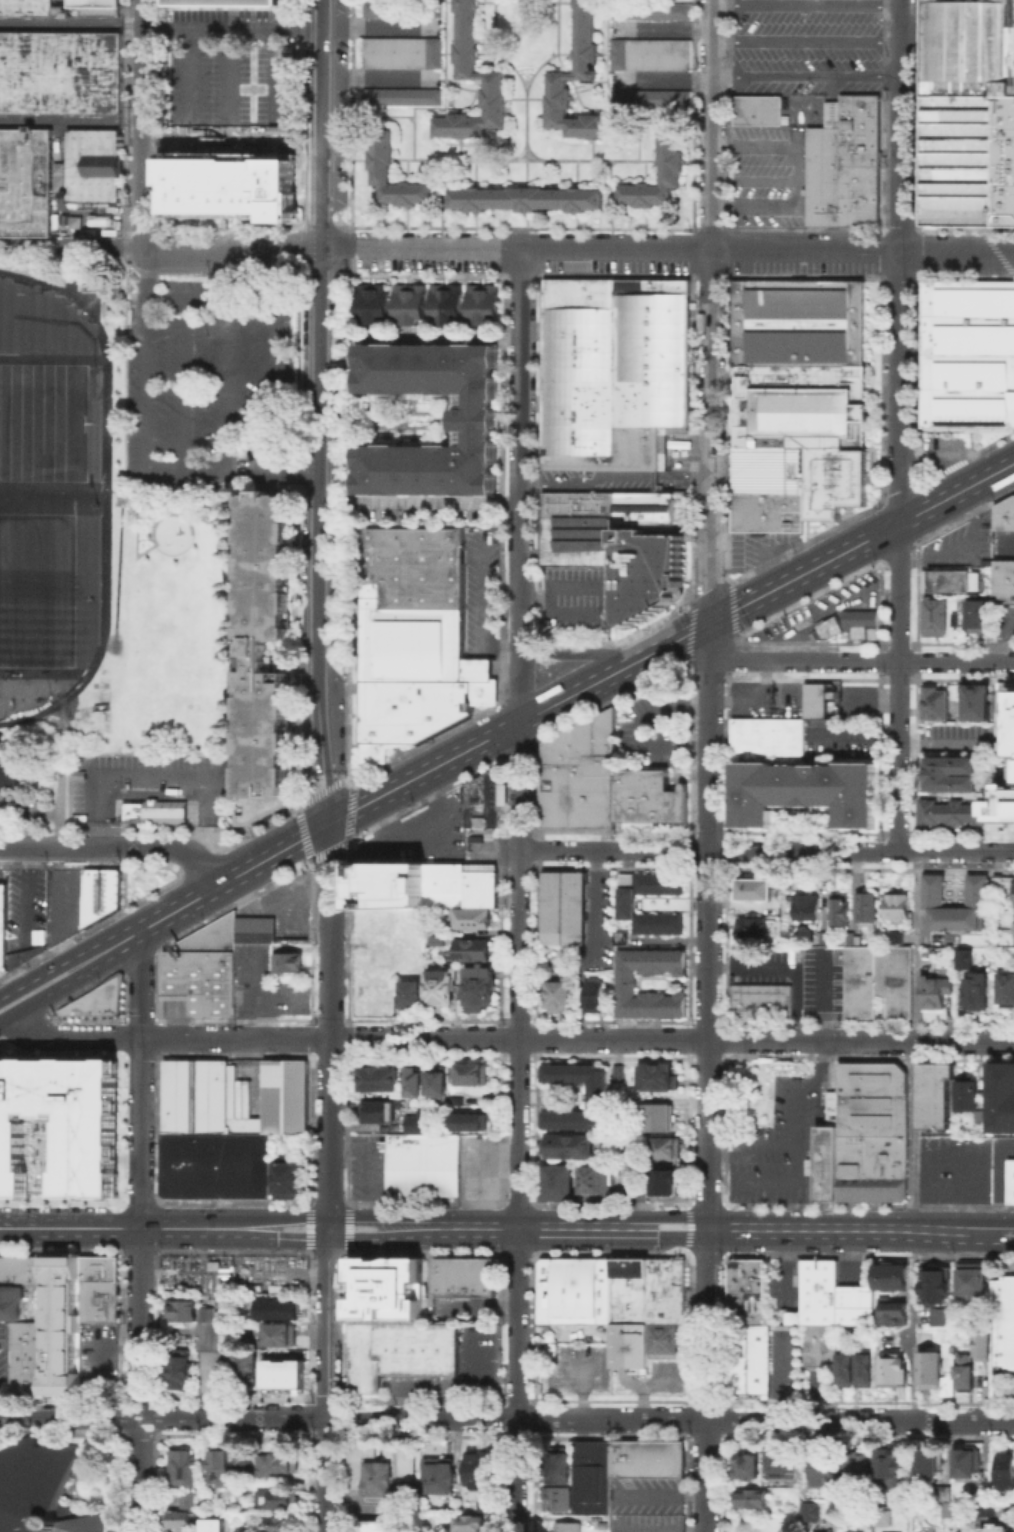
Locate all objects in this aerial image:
building: (231, 2)
road: (807, 6)
building: (61, 8)
building: (401, 8)
building: (649, 10)
road: (72, 20)
road: (233, 31)
building: (465, 35)
building: (584, 35)
road: (807, 42)
parking lot: (807, 47)
road: (555, 51)
building: (401, 52)
building: (649, 53)
building: (61, 70)
road: (807, 76)
parking lot: (231, 78)
road: (231, 78)
building: (400, 95)
building: (649, 97)
building: (967, 112)
building: (760, 113)
road: (401, 115)
road: (71, 118)
road: (703, 121)
road: (322, 122)
road: (143, 126)
road: (230, 126)
road: (637, 126)
building: (380, 155)
building: (669, 156)
road: (520, 157)
road: (610, 158)
building: (92, 164)
building: (847, 169)
building: (234, 180)
building: (26, 181)
building: (524, 198)
building: (101, 228)
building: (113, 229)
road: (901, 232)
road: (71, 244)
road: (668, 246)
road: (234, 252)
building: (377, 307)
building: (411, 308)
building: (447, 308)
building: (483, 309)
road: (710, 311)
road: (421, 338)
road: (223, 346)
road: (103, 351)
building: (967, 352)
road: (142, 358)
building: (614, 377)
park: (45, 383)
parking lot: (210, 384)
building: (794, 400)
park: (36, 422)
park: (43, 422)
building: (479, 426)
road: (944, 465)
road: (226, 469)
road: (612, 471)
road: (1000, 471)
road: (1000, 479)
road: (520, 484)
road: (121, 491)
track: (105, 502)
road: (419, 502)
building: (1004, 513)
road: (318, 534)
park: (100, 535)
road: (153, 535)
parking lot: (968, 544)
building: (622, 547)
road: (847, 550)
building: (950, 581)
building: (1003, 582)
road: (552, 583)
park: (36, 589)
parking lot: (481, 590)
parking lot: (579, 601)
traffic signals: (736, 610)
parking lot: (824, 610)
road: (477, 613)
road: (560, 615)
building: (974, 617)
building: (935, 620)
building: (957, 621)
building: (857, 623)
parking lot: (1003, 625)
road: (101, 634)
traffic signals: (685, 636)
road: (998, 636)
building: (418, 639)
road: (573, 652)
building: (263, 658)
road: (899, 658)
road: (861, 661)
parking lot: (765, 698)
building: (814, 699)
building: (973, 702)
building: (932, 703)
building: (1009, 714)
road: (518, 723)
parking lot: (654, 729)
building: (765, 735)
parking lot: (953, 737)
parking lot: (839, 741)
building: (8, 770)
road: (61, 773)
building: (950, 773)
road: (153, 778)
building: (606, 785)
parking lot: (155, 786)
building: (801, 789)
building: (484, 796)
building: (2, 805)
building: (1001, 808)
building: (948, 810)
building: (160, 814)
traffic signals: (327, 825)
parking lot: (424, 829)
road: (421, 831)
road: (117, 848)
road: (744, 850)
building: (392, 879)
building: (450, 880)
building: (484, 884)
road: (217, 887)
building: (935, 887)
building: (755, 890)
building: (100, 893)
parking lot: (64, 903)
road: (56, 905)
building: (628, 905)
building: (898, 906)
parking lot: (25, 907)
building: (809, 908)
building: (564, 910)
building: (841, 910)
building: (868, 910)
parking lot: (289, 911)
building: (3, 915)
building: (472, 915)
road: (709, 927)
building: (753, 930)
building: (257, 933)
building: (1013, 941)
building: (475, 946)
building: (965, 960)
building: (289, 965)
road: (52, 967)
road: (788, 967)
building: (206, 971)
parking lot: (795, 972)
road: (519, 976)
building: (879, 980)
building: (482, 984)
building: (442, 985)
road: (56, 987)
building: (627, 987)
parking lot: (268, 988)
building: (933, 990)
building: (411, 992)
building: (1007, 992)
building: (979, 993)
building: (561, 996)
building: (597, 997)
road: (819, 997)
building: (95, 999)
building: (762, 1003)
road: (330, 1026)
road: (167, 1037)
road: (672, 1039)
road: (915, 1042)
building: (469, 1074)
building: (657, 1076)
road: (140, 1079)
building: (378, 1079)
building: (412, 1082)
building: (435, 1084)
park: (757, 1090)
building: (933, 1092)
building: (283, 1093)
parking lot: (243, 1094)
building: (591, 1094)
building: (964, 1094)
building: (190, 1095)
building: (1002, 1096)
building: (459, 1103)
building: (377, 1111)
building: (658, 1116)
building: (466, 1122)
building: (411, 1123)
building: (57, 1126)
building: (865, 1134)
parking lot: (785, 1139)
building: (568, 1147)
building: (665, 1147)
road: (722, 1152)
building: (630, 1162)
building: (421, 1164)
building: (213, 1165)
parking lot: (365, 1166)
parking lot: (477, 1167)
parking lot: (1001, 1167)
road: (366, 1168)
parking lot: (954, 1170)
road: (483, 1174)
road: (796, 1175)
building: (284, 1179)
building: (1010, 1179)
building: (556, 1181)
building: (592, 1182)
building: (663, 1183)
road: (1001, 1186)
road: (70, 1227)
road: (234, 1228)
road: (518, 1229)
road: (855, 1231)
road: (1009, 1231)
building: (21, 1268)
building: (890, 1275)
building: (467, 1277)
building: (934, 1282)
building: (974, 1282)
building: (188, 1288)
building: (99, 1289)
building: (750, 1291)
building: (616, 1301)
building: (9, 1302)
building: (278, 1308)
building: (827, 1308)
building: (180, 1309)
building: (892, 1310)
building: (941, 1315)
road: (139, 1322)
road: (328, 1322)
building: (1005, 1323)
road: (913, 1325)
building: (63, 1330)
building: (278, 1333)
building: (668, 1340)
building: (980, 1344)
building: (400, 1350)
building: (25, 1356)
building: (212, 1356)
building: (750, 1359)
building: (244, 1365)
building: (845, 1366)
building: (863, 1366)
building: (929, 1367)
building: (181, 1369)
building: (963, 1369)
building: (893, 1370)
building: (283, 1374)
road: (518, 1380)
road: (706, 1380)
road: (578, 1385)
road: (69, 1416)
road: (233, 1417)
road: (670, 1419)
building: (646, 1457)
building: (967, 1460)
building: (780, 1462)
building: (887, 1462)
building: (926, 1462)
building: (241, 1463)
building: (277, 1464)
building: (745, 1464)
building: (856, 1464)
building: (216, 1465)
building: (381, 1465)
building: (180, 1466)
building: (558, 1466)
building: (820, 1467)
building: (1003, 1471)
building: (481, 1473)
road: (138, 1474)
road: (328, 1474)
building: (591, 1475)
building: (441, 1477)
building: (39, 1490)
building: (943, 1494)
building: (557, 1496)
building: (750, 1497)
building: (186, 1498)
building: (273, 1498)
building: (488, 1506)
building: (947, 1508)
building: (809, 1512)
building: (882, 1517)
building: (175, 1519)
building: (278, 1523)
building: (211, 1524)
building: (472, 1526)
building: (565, 1526)
building: (376, 1527)
building: (993, 1528)
building: (242, 1531)
building: (852, 1531)

